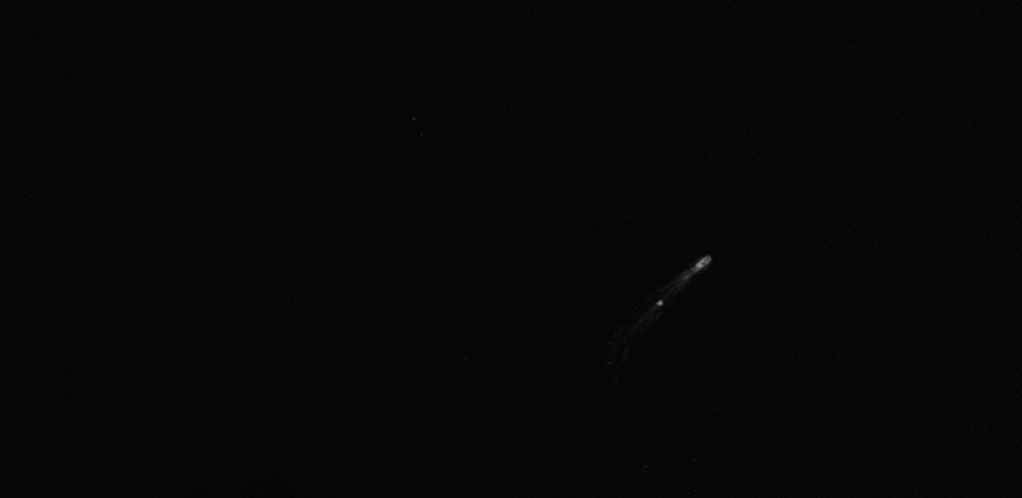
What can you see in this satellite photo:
river: (74, 129)

